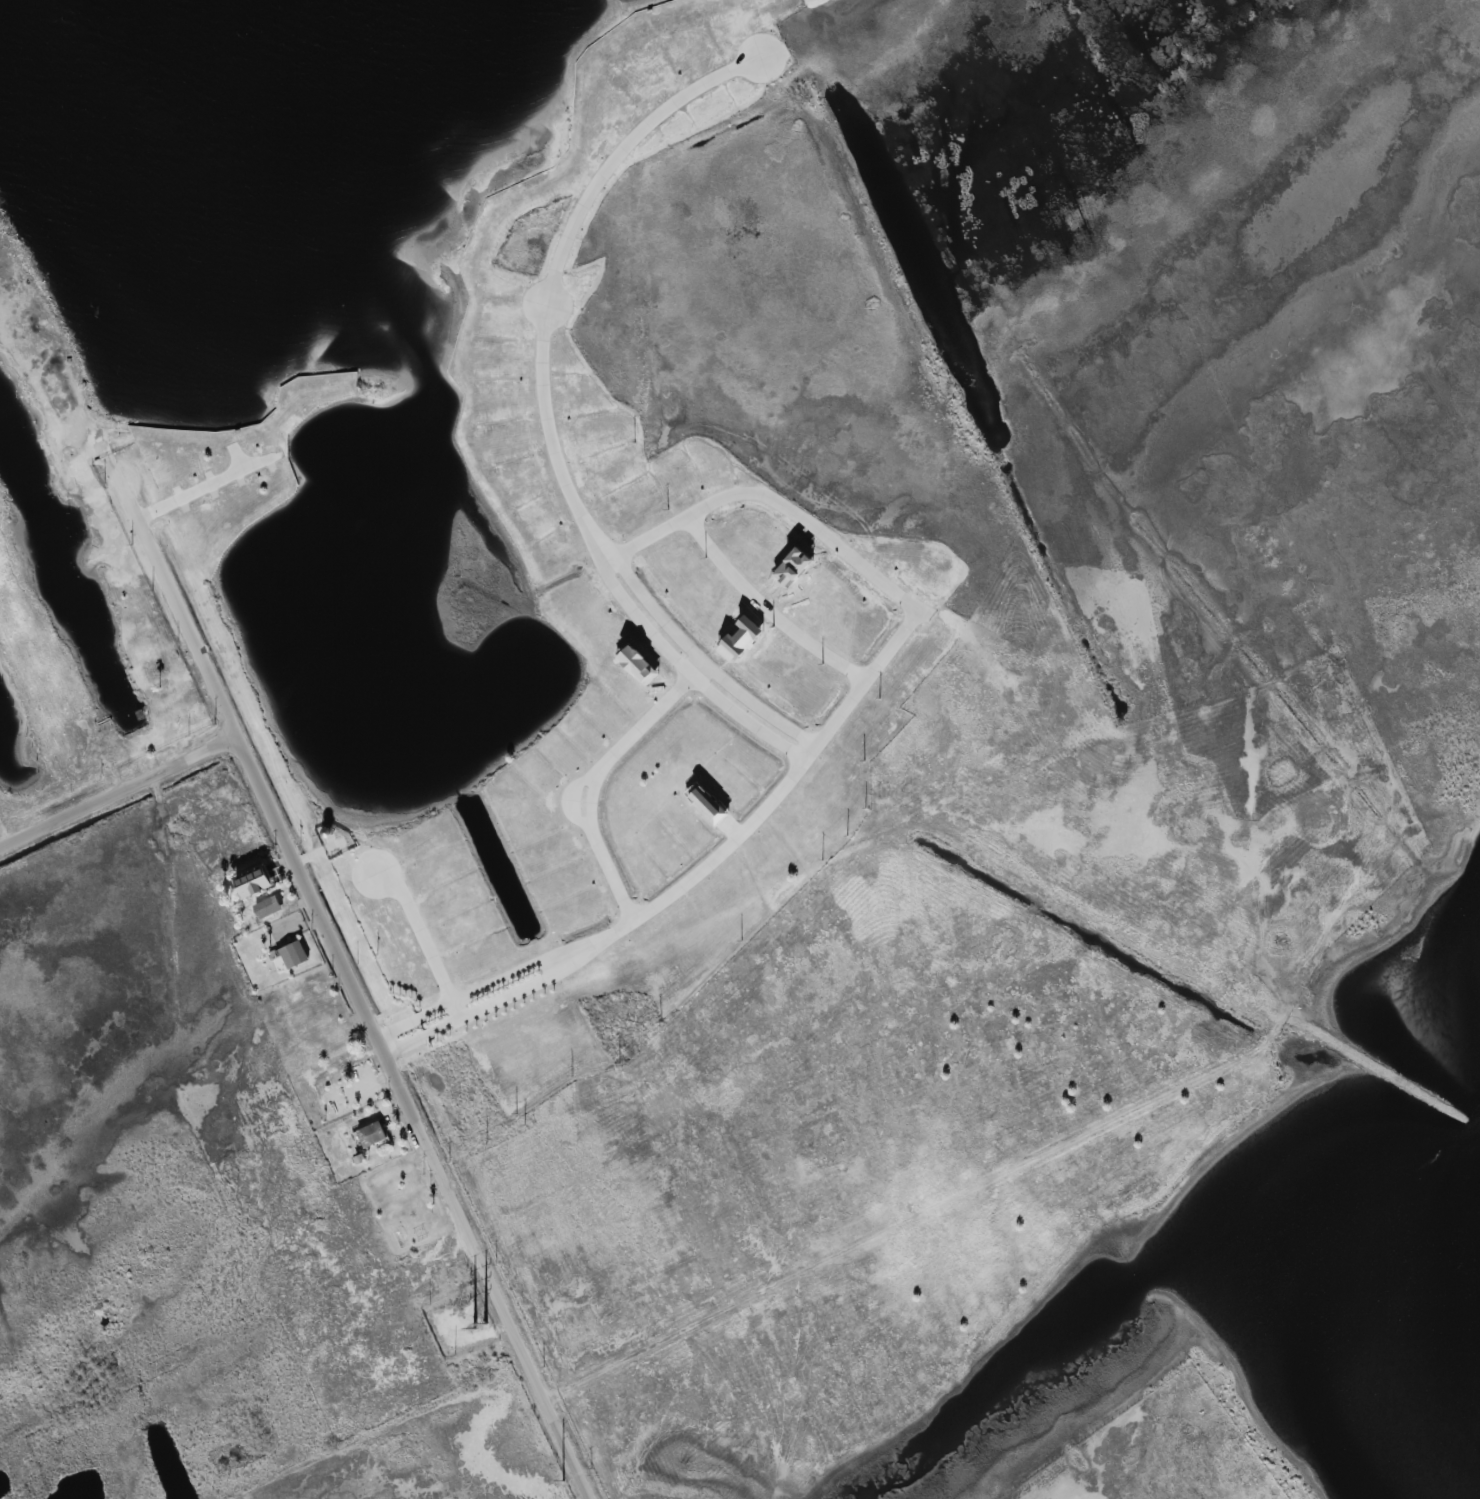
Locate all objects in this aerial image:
road: (648, 539)
road: (608, 564)
road: (915, 612)
road: (182, 618)
building: (742, 640)
road: (595, 778)
road: (118, 788)
building: (256, 882)
road: (403, 898)
building: (270, 907)
building: (291, 955)
road: (551, 967)
road: (414, 1115)
building: (372, 1135)
power tower: (484, 1324)

